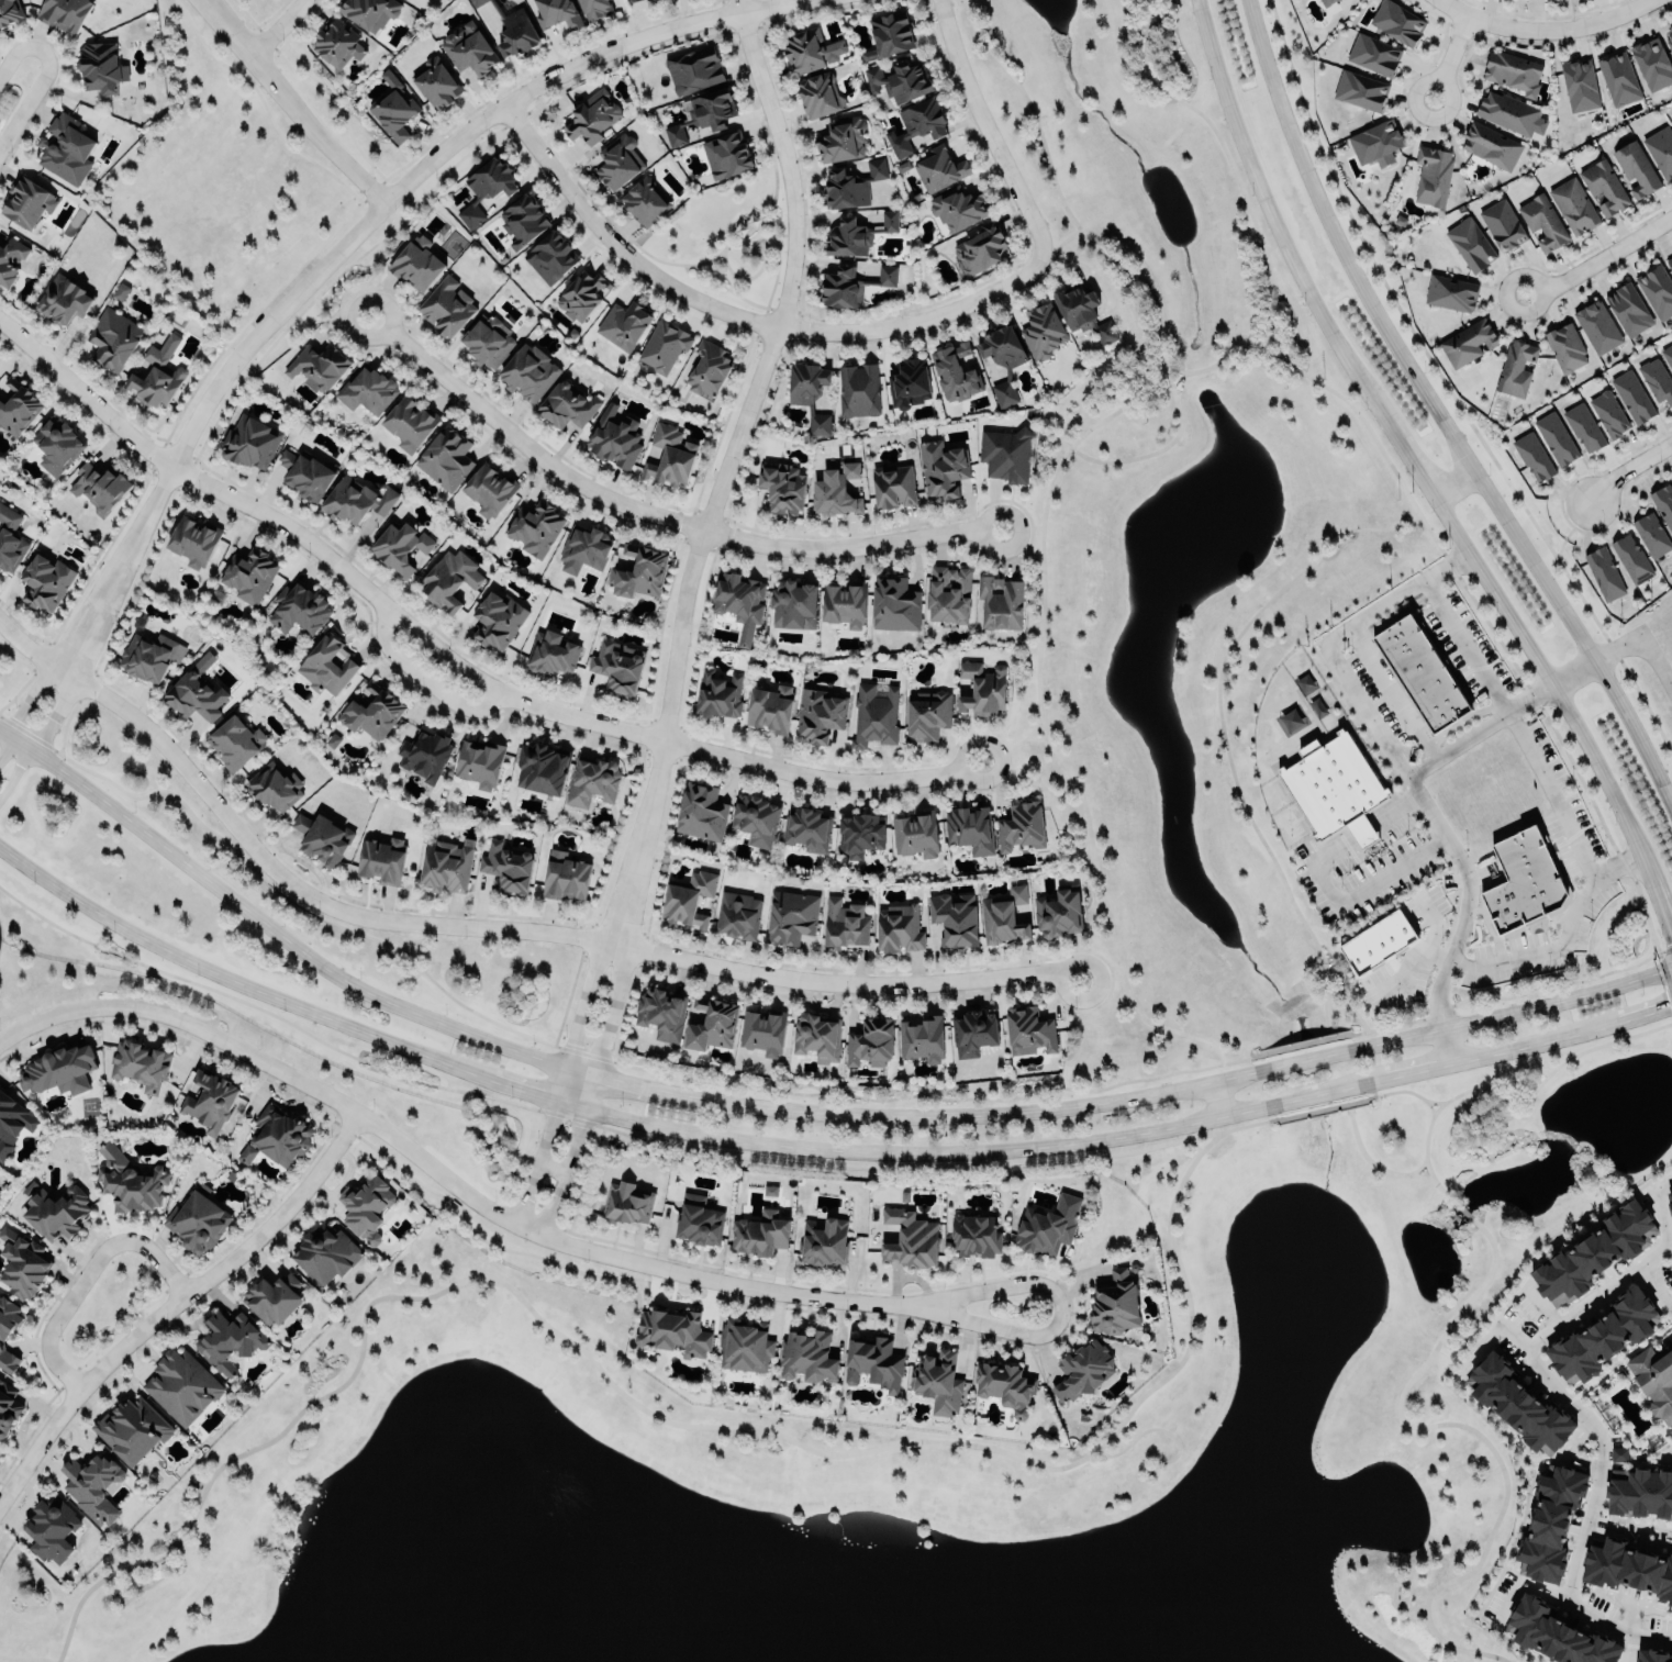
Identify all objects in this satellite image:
building: (631, 0)
building: (476, 2)
building: (1325, 2)
building: (595, 8)
building: (9, 11)
building: (64, 12)
building: (370, 12)
building: (557, 12)
building: (1397, 22)
building: (514, 29)
road: (276, 30)
road: (1542, 30)
building: (889, 34)
building: (1669, 40)
building: (337, 44)
building: (468, 48)
building: (810, 48)
building: (1374, 55)
road: (1449, 56)
building: (101, 62)
building: (1651, 63)
building: (694, 69)
building: (1513, 71)
road: (42, 77)
building: (1618, 78)
building: (899, 79)
building: (435, 81)
building: (1580, 83)
road: (309, 88)
building: (1360, 90)
building: (818, 94)
road: (259, 105)
road: (286, 105)
building: (392, 112)
building: (1508, 112)
building: (704, 113)
building: (591, 115)
building: (1671, 120)
building: (916, 124)
road: (987, 130)
building: (841, 140)
building: (1376, 142)
building: (1491, 146)
building: (66, 148)
building: (1661, 150)
building: (726, 154)
building: (617, 160)
building: (939, 169)
building: (1636, 169)
building: (1433, 175)
building: (852, 185)
building: (486, 187)
building: (1604, 187)
building: (25, 200)
building: (645, 200)
building: (957, 207)
building: (1573, 207)
building: (521, 220)
building: (889, 221)
building: (1542, 222)
building: (1502, 224)
road: (350, 233)
building: (847, 238)
road: (1059, 244)
building: (1470, 245)
building: (981, 249)
building: (550, 257)
building: (11, 258)
road: (1602, 258)
building: (1669, 263)
building: (417, 264)
road: (1117, 264)
building: (849, 280)
road: (1138, 286)
building: (1657, 290)
building: (120, 291)
road: (347, 291)
building: (1450, 292)
building: (582, 294)
building: (63, 298)
building: (446, 305)
road: (255, 308)
building: (1628, 310)
building: (1082, 311)
road: (739, 315)
building: (624, 324)
building: (1597, 326)
building: (1041, 331)
building: (113, 338)
building: (488, 341)
road: (1264, 342)
building: (1468, 343)
building: (664, 346)
building: (1002, 347)
building: (1564, 347)
road: (1224, 352)
building: (1668, 355)
building: (319, 364)
building: (709, 367)
building: (1516, 368)
building: (528, 371)
building: (954, 372)
building: (156, 378)
road: (1177, 380)
building: (1657, 380)
building: (907, 382)
building: (367, 389)
building: (858, 389)
building: (809, 391)
building: (1004, 392)
building: (1632, 395)
building: (567, 405)
building: (18, 406)
building: (1608, 413)
road: (1438, 414)
building: (409, 420)
building: (1583, 427)
building: (1556, 437)
building: (247, 439)
building: (614, 440)
building: (56, 445)
building: (1005, 454)
building: (672, 455)
building: (445, 457)
building: (1532, 457)
building: (941, 467)
road: (722, 468)
road: (1627, 468)
building: (648, 470)
building: (305, 475)
road: (1422, 476)
road: (1454, 482)
building: (892, 484)
road: (1401, 484)
building: (99, 487)
building: (782, 487)
building: (489, 490)
building: (836, 490)
building: (355, 500)
building: (1663, 502)
road: (657, 517)
building: (535, 528)
road: (1022, 528)
building: (1651, 534)
building: (10, 539)
road: (1563, 539)
building: (193, 542)
building: (401, 548)
building: (584, 548)
building: (1631, 559)
building: (639, 571)
building: (1604, 573)
building: (248, 575)
building: (448, 579)
building: (45, 580)
building: (948, 593)
building: (739, 603)
building: (845, 603)
building: (1001, 603)
building: (793, 604)
building: (894, 604)
building: (299, 607)
building: (497, 618)
road: (1334, 637)
road: (1641, 644)
road: (1468, 645)
building: (550, 652)
building: (149, 655)
road: (446, 658)
building: (326, 663)
building: (617, 666)
road: (1573, 671)
building: (1420, 672)
road: (1036, 677)
road: (419, 678)
building: (981, 688)
road: (1391, 693)
building: (194, 694)
building: (717, 694)
road: (24, 706)
building: (770, 709)
building: (818, 714)
building: (926, 714)
building: (874, 715)
road: (1220, 727)
road: (38, 734)
road: (1040, 739)
building: (234, 741)
road: (1013, 744)
building: (425, 756)
building: (479, 763)
building: (542, 769)
building: (592, 781)
building: (275, 787)
building: (1333, 789)
road: (1551, 794)
building: (701, 812)
road: (1396, 812)
road: (1434, 818)
building: (756, 819)
building: (1021, 826)
building: (806, 828)
building: (969, 829)
road: (1362, 833)
building: (860, 834)
building: (915, 835)
building: (322, 838)
building: (381, 860)
building: (446, 866)
building: (506, 867)
building: (565, 875)
building: (1523, 881)
road: (1358, 892)
building: (688, 899)
building: (1059, 913)
building: (737, 915)
building: (791, 916)
building: (1004, 916)
building: (955, 918)
building: (844, 925)
road: (487, 928)
building: (899, 928)
road: (269, 930)
building: (1378, 942)
road: (1565, 944)
road: (1099, 972)
road: (236, 983)
road: (1345, 1000)
road: (586, 1002)
building: (662, 1013)
road: (1626, 1016)
building: (712, 1024)
road: (608, 1026)
building: (763, 1030)
building: (1029, 1030)
building: (973, 1033)
building: (921, 1036)
building: (817, 1037)
building: (870, 1041)
road: (1356, 1041)
road: (1449, 1046)
road: (1517, 1047)
building: (140, 1063)
road: (1257, 1063)
building: (58, 1070)
road: (1412, 1073)
road: (628, 1083)
road: (565, 1086)
road: (1185, 1087)
road: (1371, 1090)
road: (525, 1092)
road: (792, 1094)
road: (1213, 1100)
building: (209, 1101)
road: (1434, 1102)
road: (1507, 1102)
road: (1492, 1111)
road: (1270, 1114)
building: (12, 1123)
building: (280, 1135)
road: (546, 1144)
road: (1195, 1145)
road: (699, 1149)
road: (573, 1151)
road: (966, 1152)
building: (247, 1153)
road: (591, 1163)
road: (1373, 1165)
road: (1416, 1170)
road: (439, 1176)
building: (129, 1181)
building: (769, 1190)
building: (1670, 1202)
road: (524, 1204)
building: (627, 1204)
building: (366, 1207)
road: (1462, 1211)
building: (57, 1212)
road: (550, 1215)
road: (572, 1215)
building: (698, 1220)
building: (197, 1222)
road: (1663, 1228)
building: (1046, 1229)
building: (760, 1234)
building: (976, 1236)
road: (478, 1239)
building: (911, 1239)
building: (823, 1241)
road: (484, 1247)
road: (553, 1250)
building: (326, 1252)
building: (1594, 1252)
road: (480, 1263)
building: (23, 1264)
road: (1043, 1271)
road: (83, 1275)
building: (271, 1300)
road: (171, 1301)
building: (1115, 1303)
road: (1542, 1305)
road: (1060, 1309)
road: (170, 1323)
road: (1494, 1328)
building: (673, 1331)
building: (8, 1332)
building: (1602, 1337)
building: (228, 1340)
building: (745, 1346)
building: (807, 1356)
building: (873, 1363)
building: (1083, 1371)
building: (1654, 1380)
building: (937, 1382)
building: (181, 1385)
building: (1005, 1386)
building: (1518, 1405)
road: (644, 1410)
building: (8, 1412)
road: (1595, 1427)
building: (132, 1428)
road: (1157, 1429)
road: (1478, 1435)
park: (914, 1445)
building: (1618, 1453)
building: (91, 1486)
building: (1639, 1493)
building: (1550, 1524)
building: (52, 1530)
building: (1626, 1569)
road: (1524, 1586)
road: (1398, 1607)
building: (1553, 1635)
road: (1629, 1648)
building: (1653, 1655)
road: (26, 1658)

